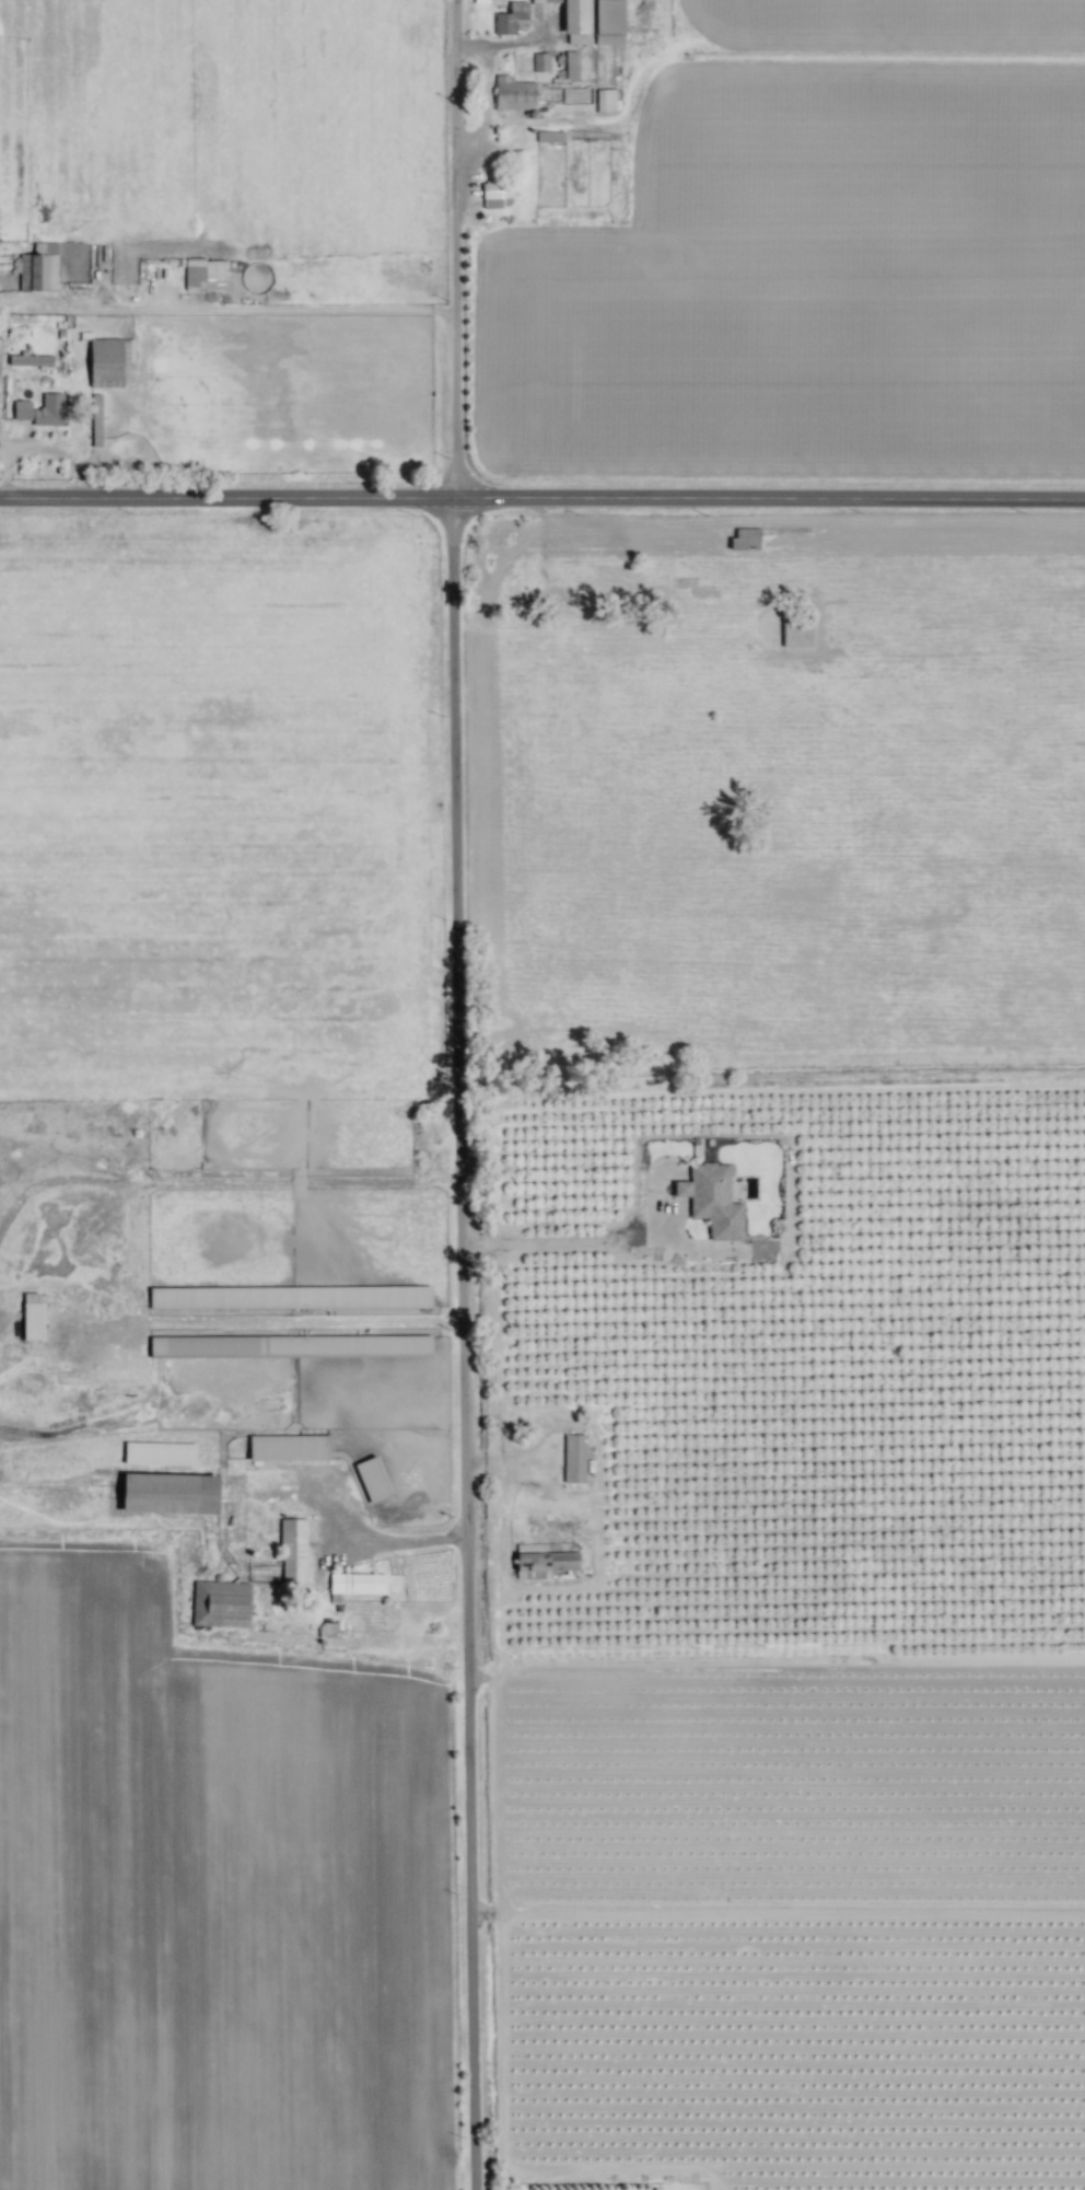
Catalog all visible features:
building: (481, 1)
building: (512, 20)
building: (574, 20)
building: (609, 22)
road: (506, 40)
building: (540, 61)
building: (571, 65)
building: (514, 94)
road: (488, 95)
building: (605, 101)
building: (549, 136)
building: (497, 194)
building: (38, 268)
building: (206, 274)
road: (255, 309)
building: (30, 360)
building: (109, 361)
building: (42, 409)
building: (96, 419)
road: (541, 498)
building: (745, 538)
building: (796, 633)
road: (467, 1094)
building: (712, 1200)
road: (562, 1241)
building: (290, 1297)
building: (33, 1321)
building: (290, 1345)
building: (289, 1448)
building: (160, 1453)
building: (574, 1458)
building: (373, 1479)
building: (170, 1493)
road: (367, 1542)
building: (293, 1551)
building: (545, 1559)
building: (355, 1585)
building: (220, 1603)

